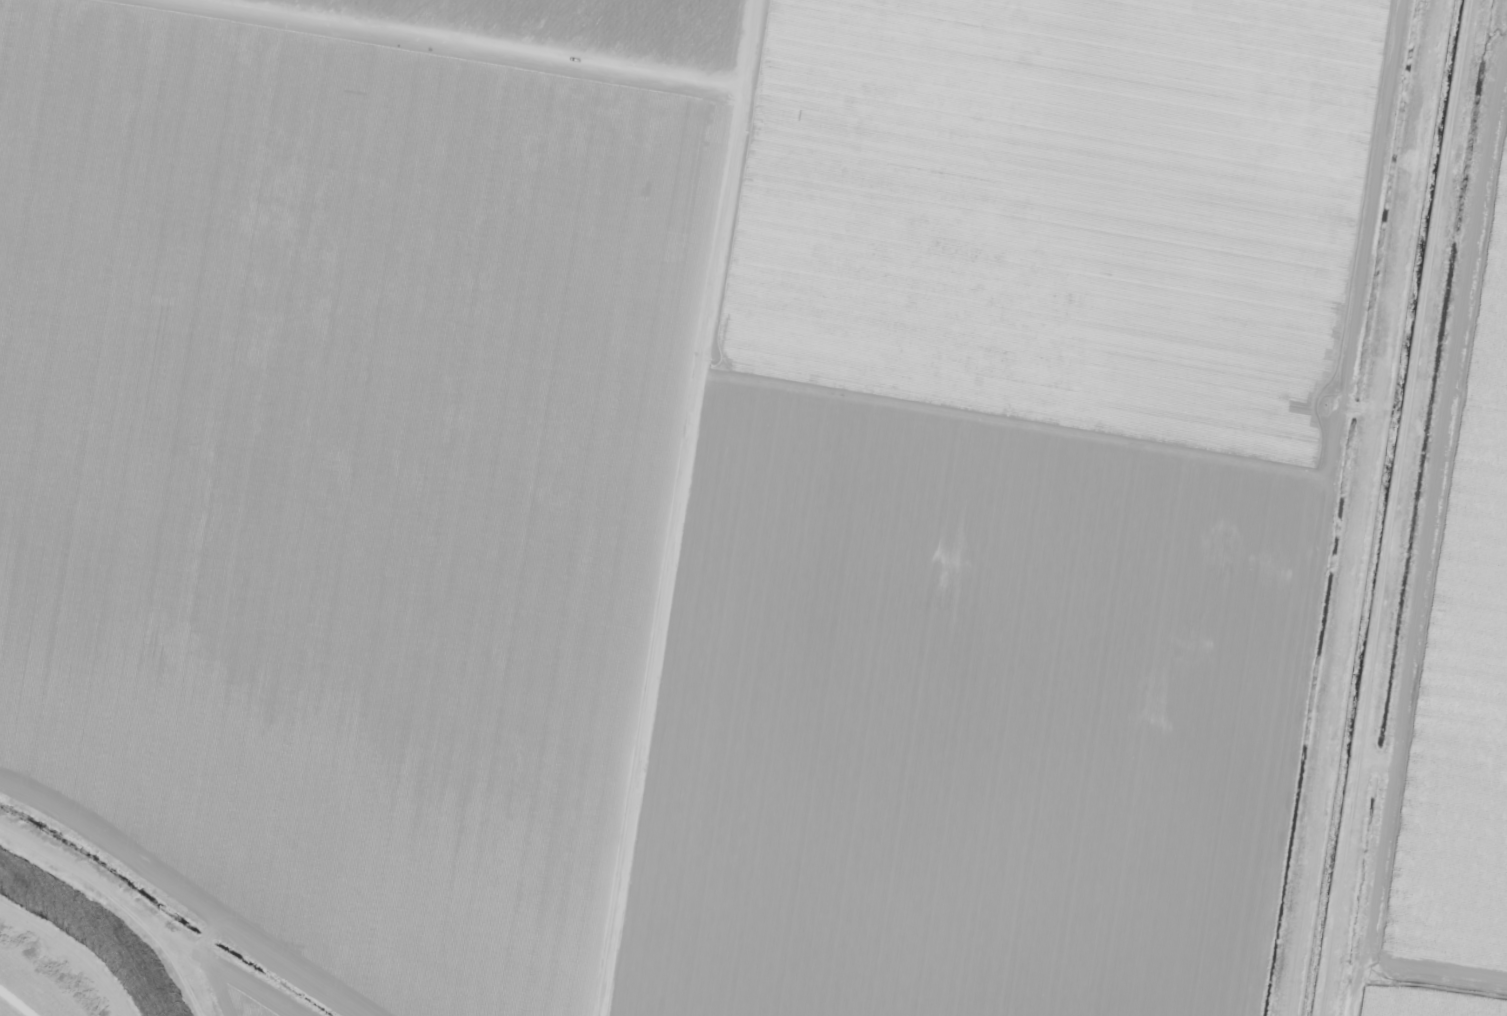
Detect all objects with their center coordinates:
road: (487, 58)
road: (1422, 508)
road: (667, 557)
road: (133, 891)
road: (31, 988)

